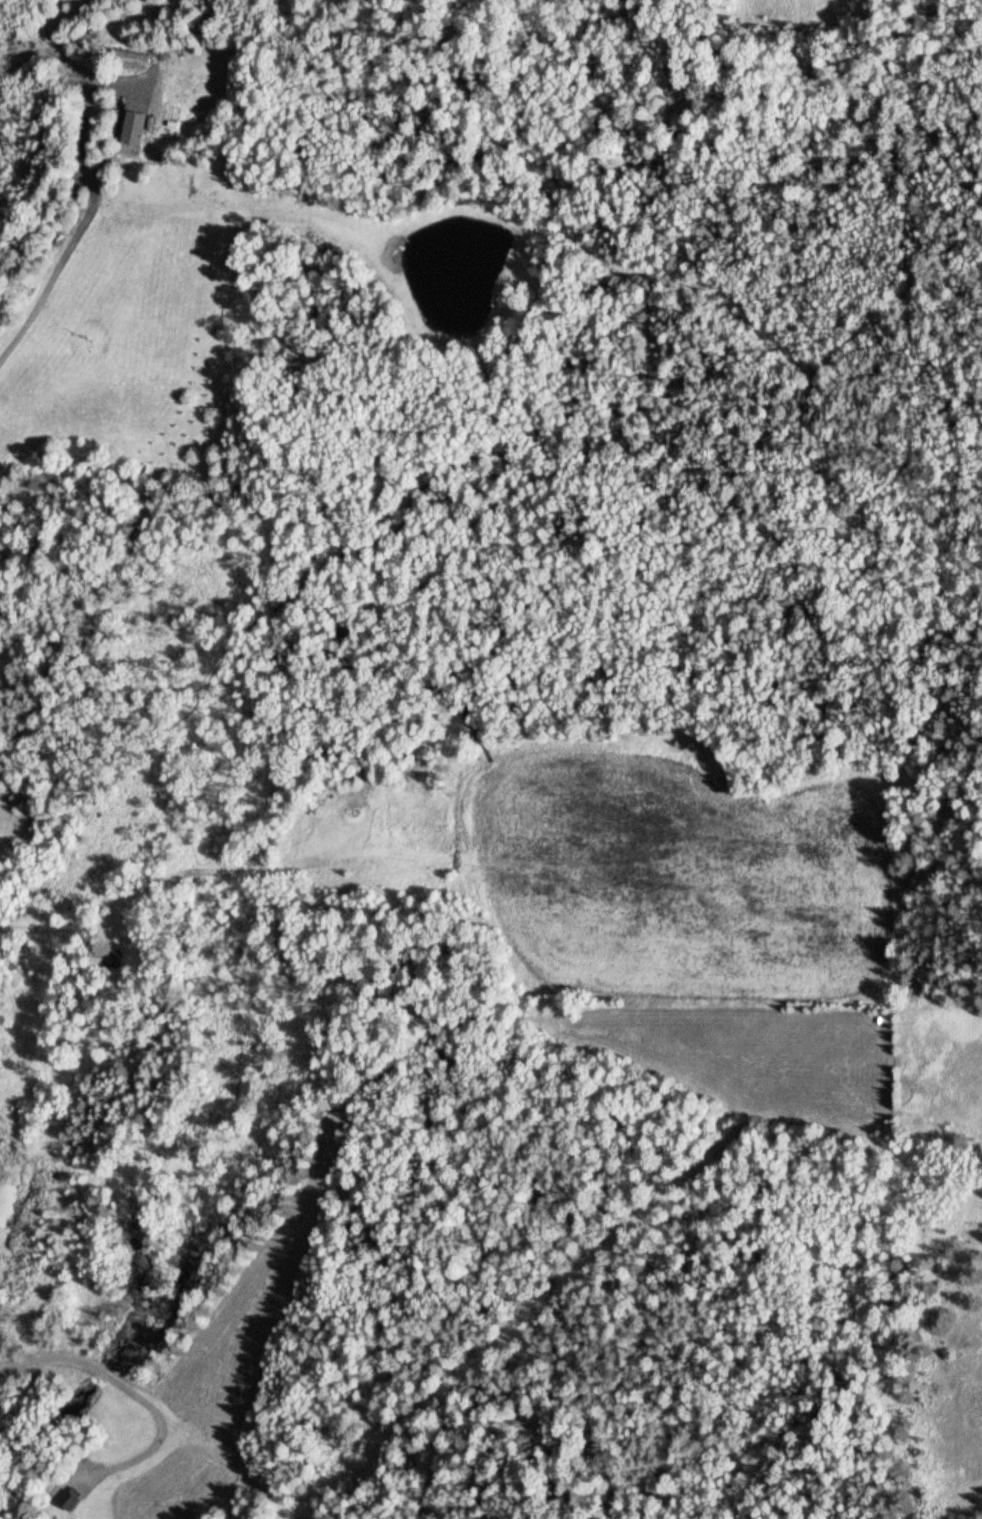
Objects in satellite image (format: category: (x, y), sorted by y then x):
road: (58, 260)
building: (356, 802)
road: (140, 1396)
building: (77, 1497)
building: (69, 1501)

